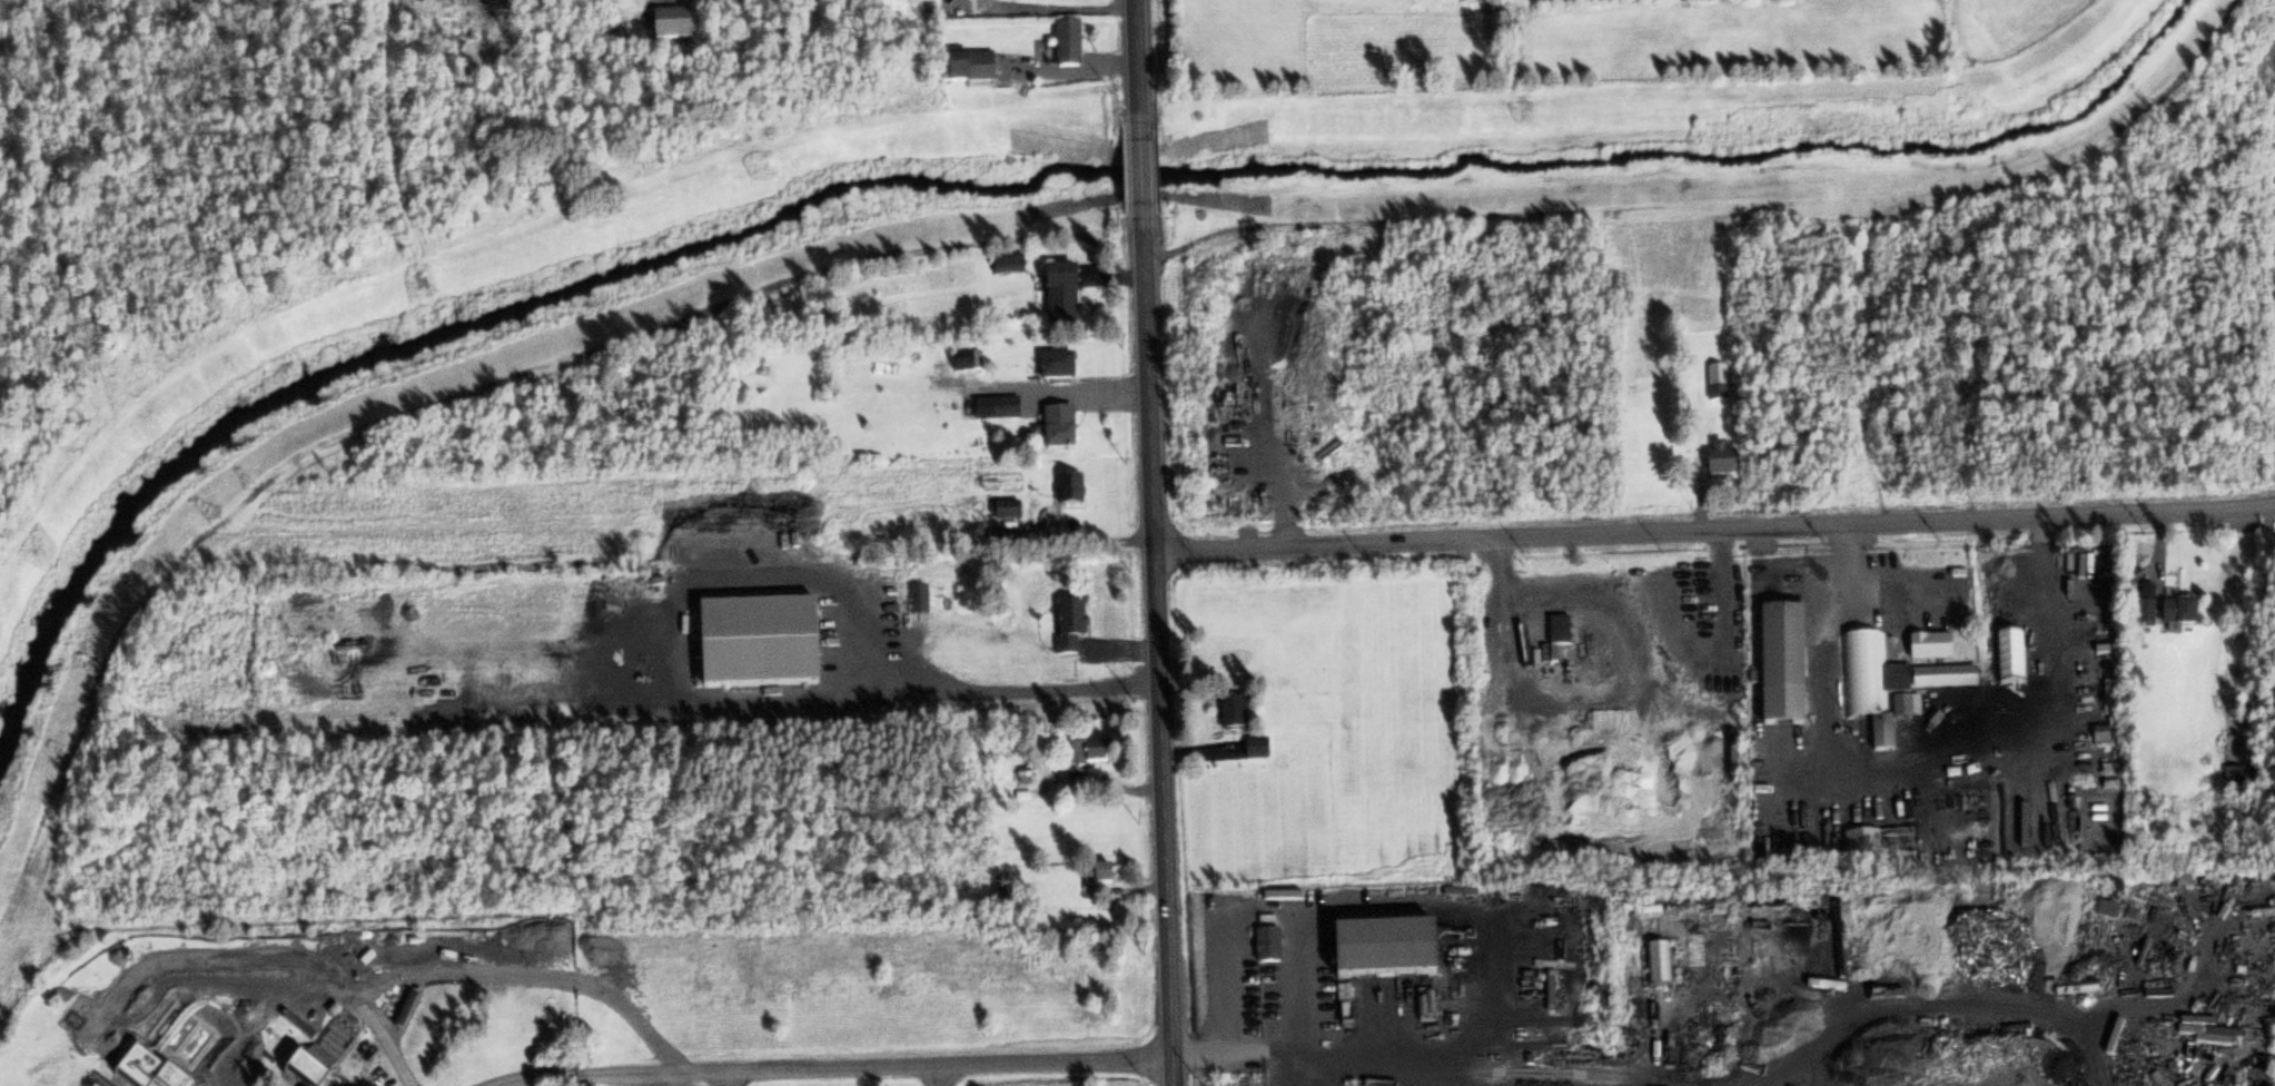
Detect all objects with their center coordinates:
wastewater plant: (575, 1008)

